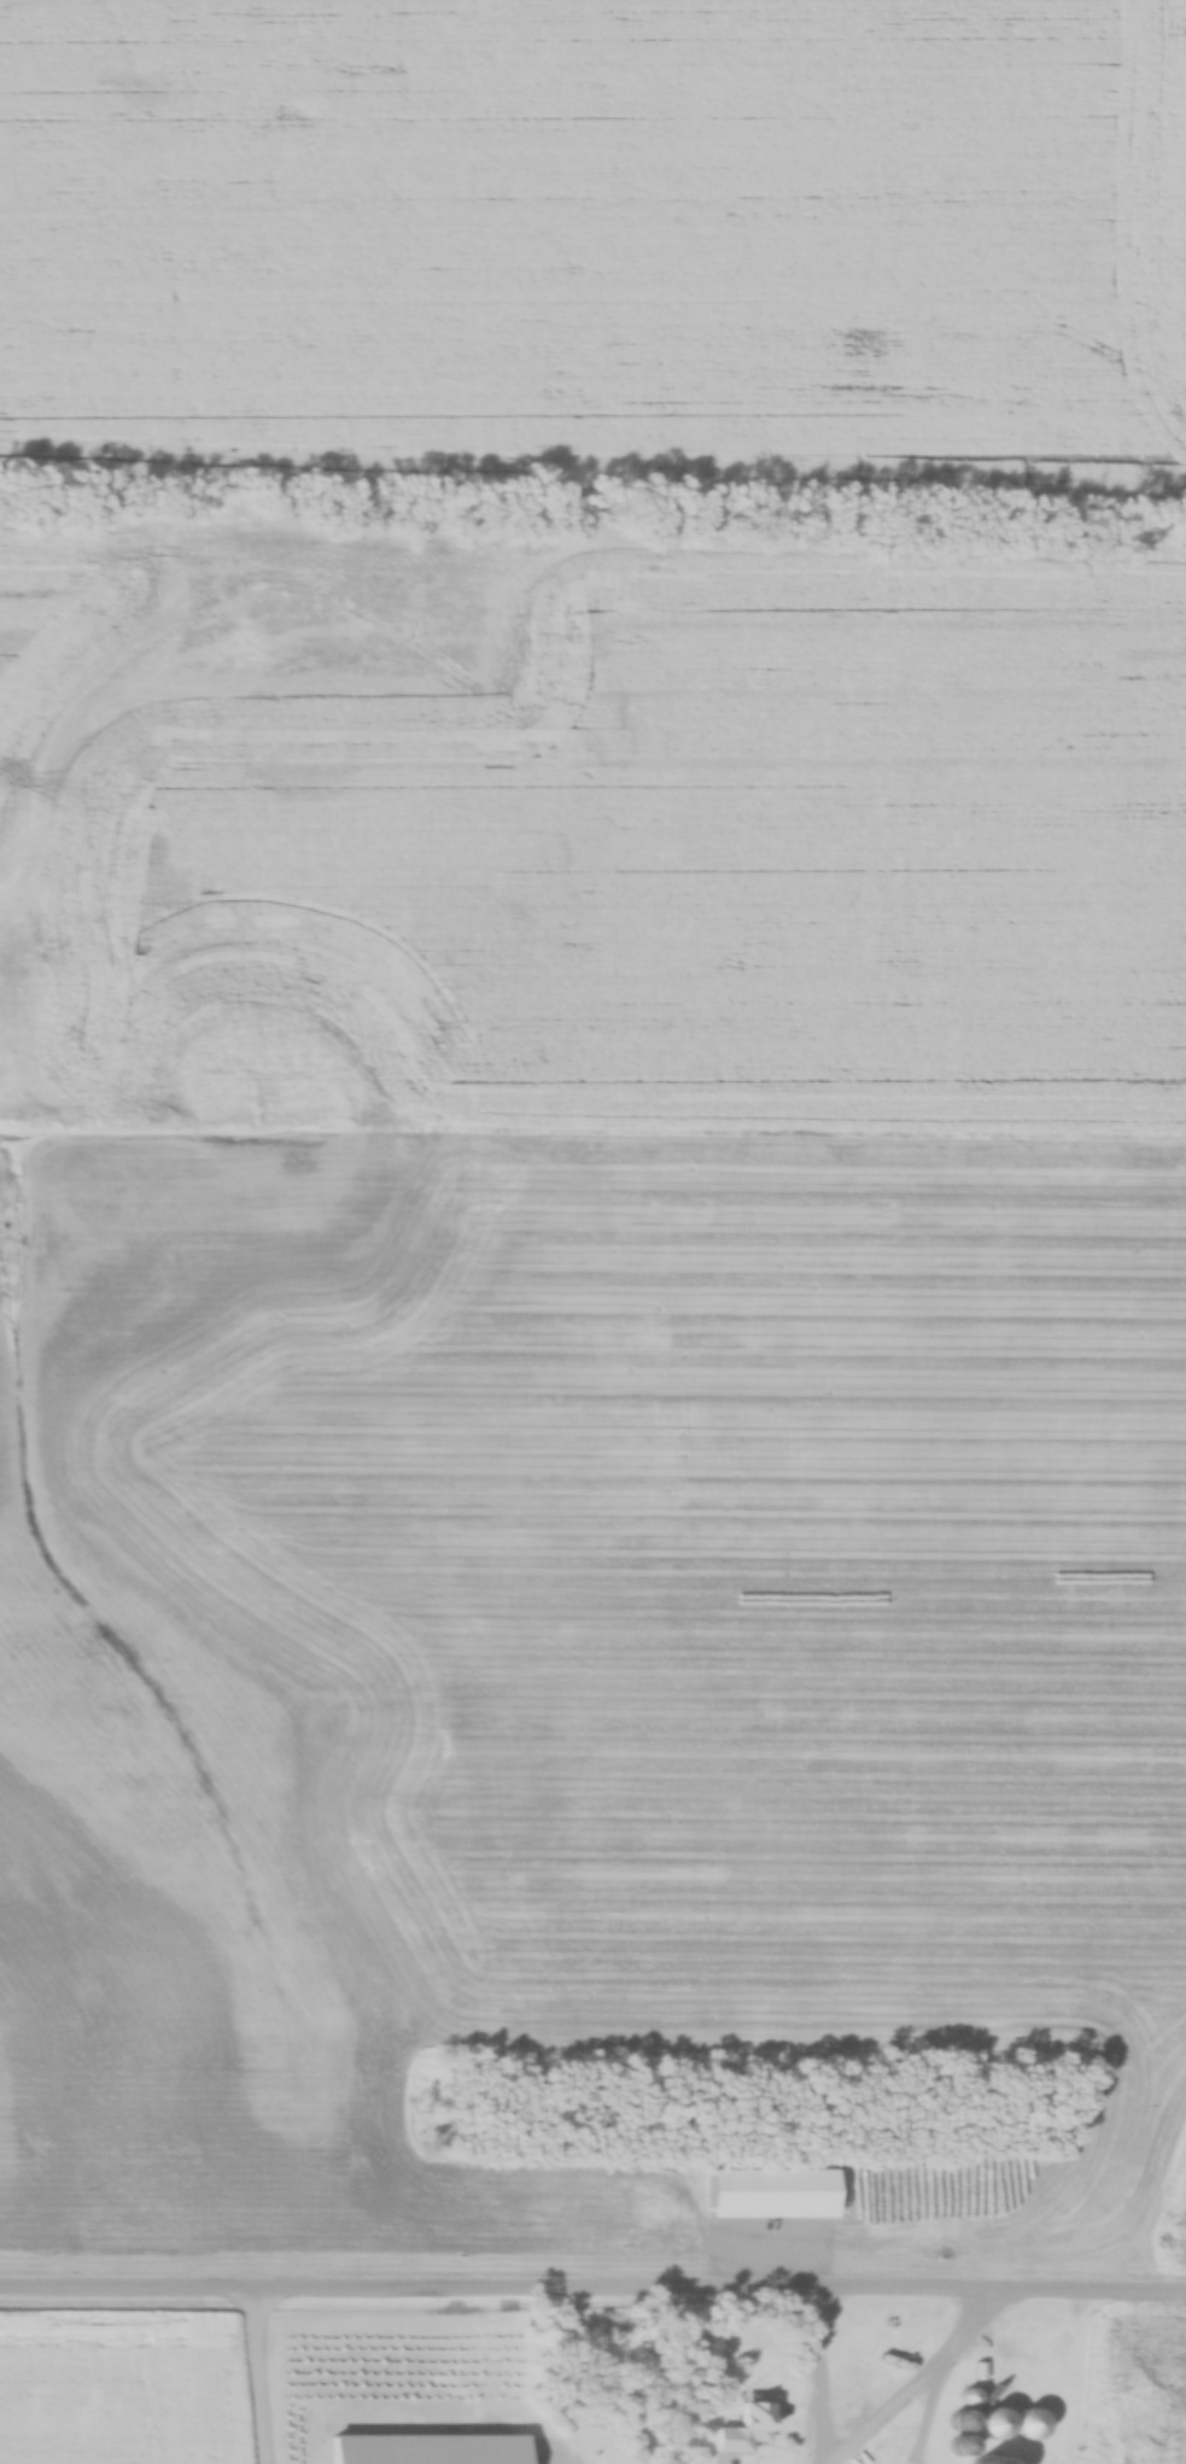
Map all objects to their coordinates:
building: (767, 2194)
road: (592, 2285)
building: (987, 2347)
building: (988, 2393)
building: (988, 2423)
building: (744, 2425)
building: (957, 2434)
building: (985, 2459)

